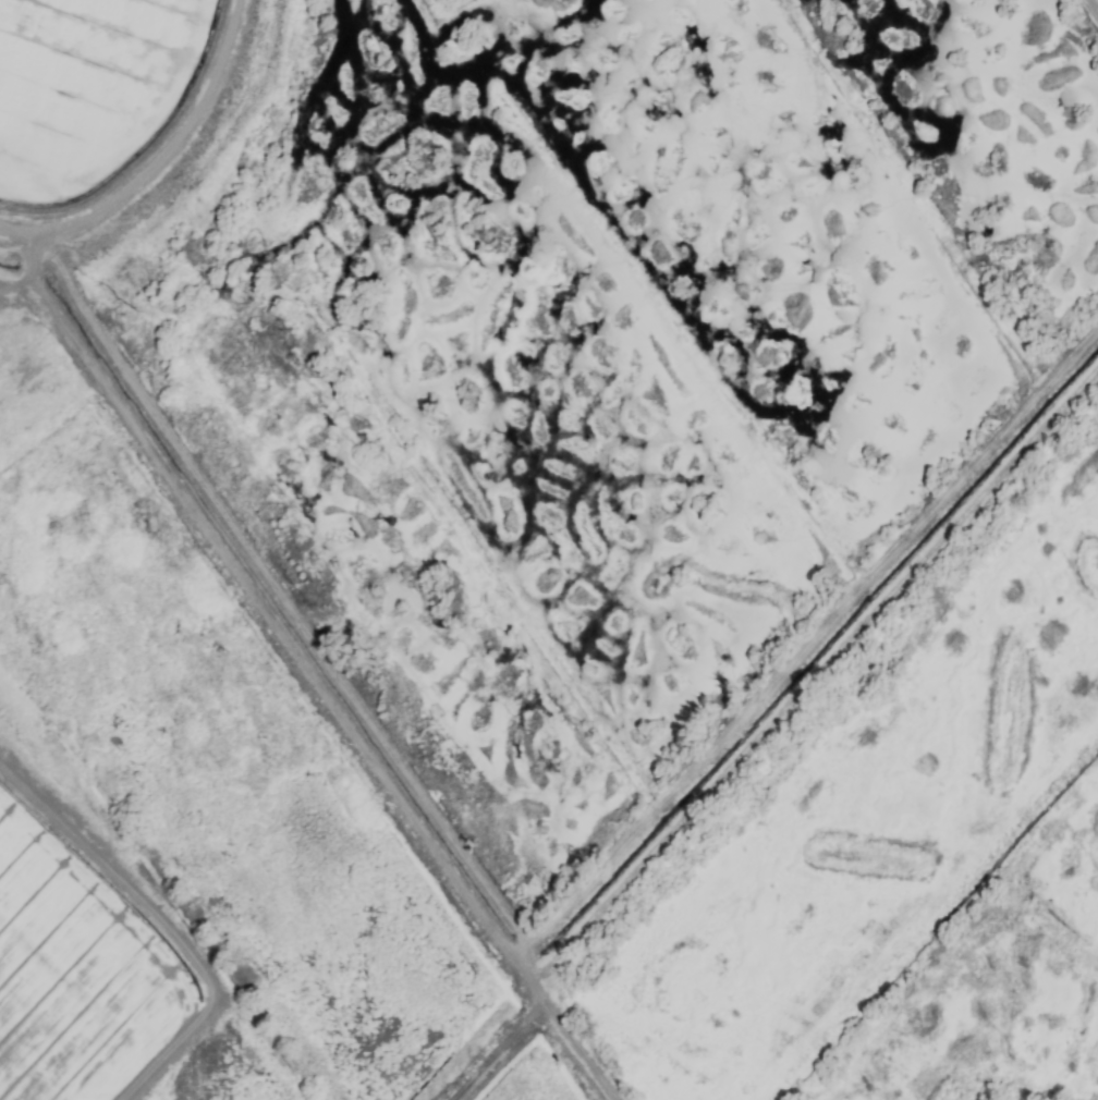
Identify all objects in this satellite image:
crop: (549, 550)

